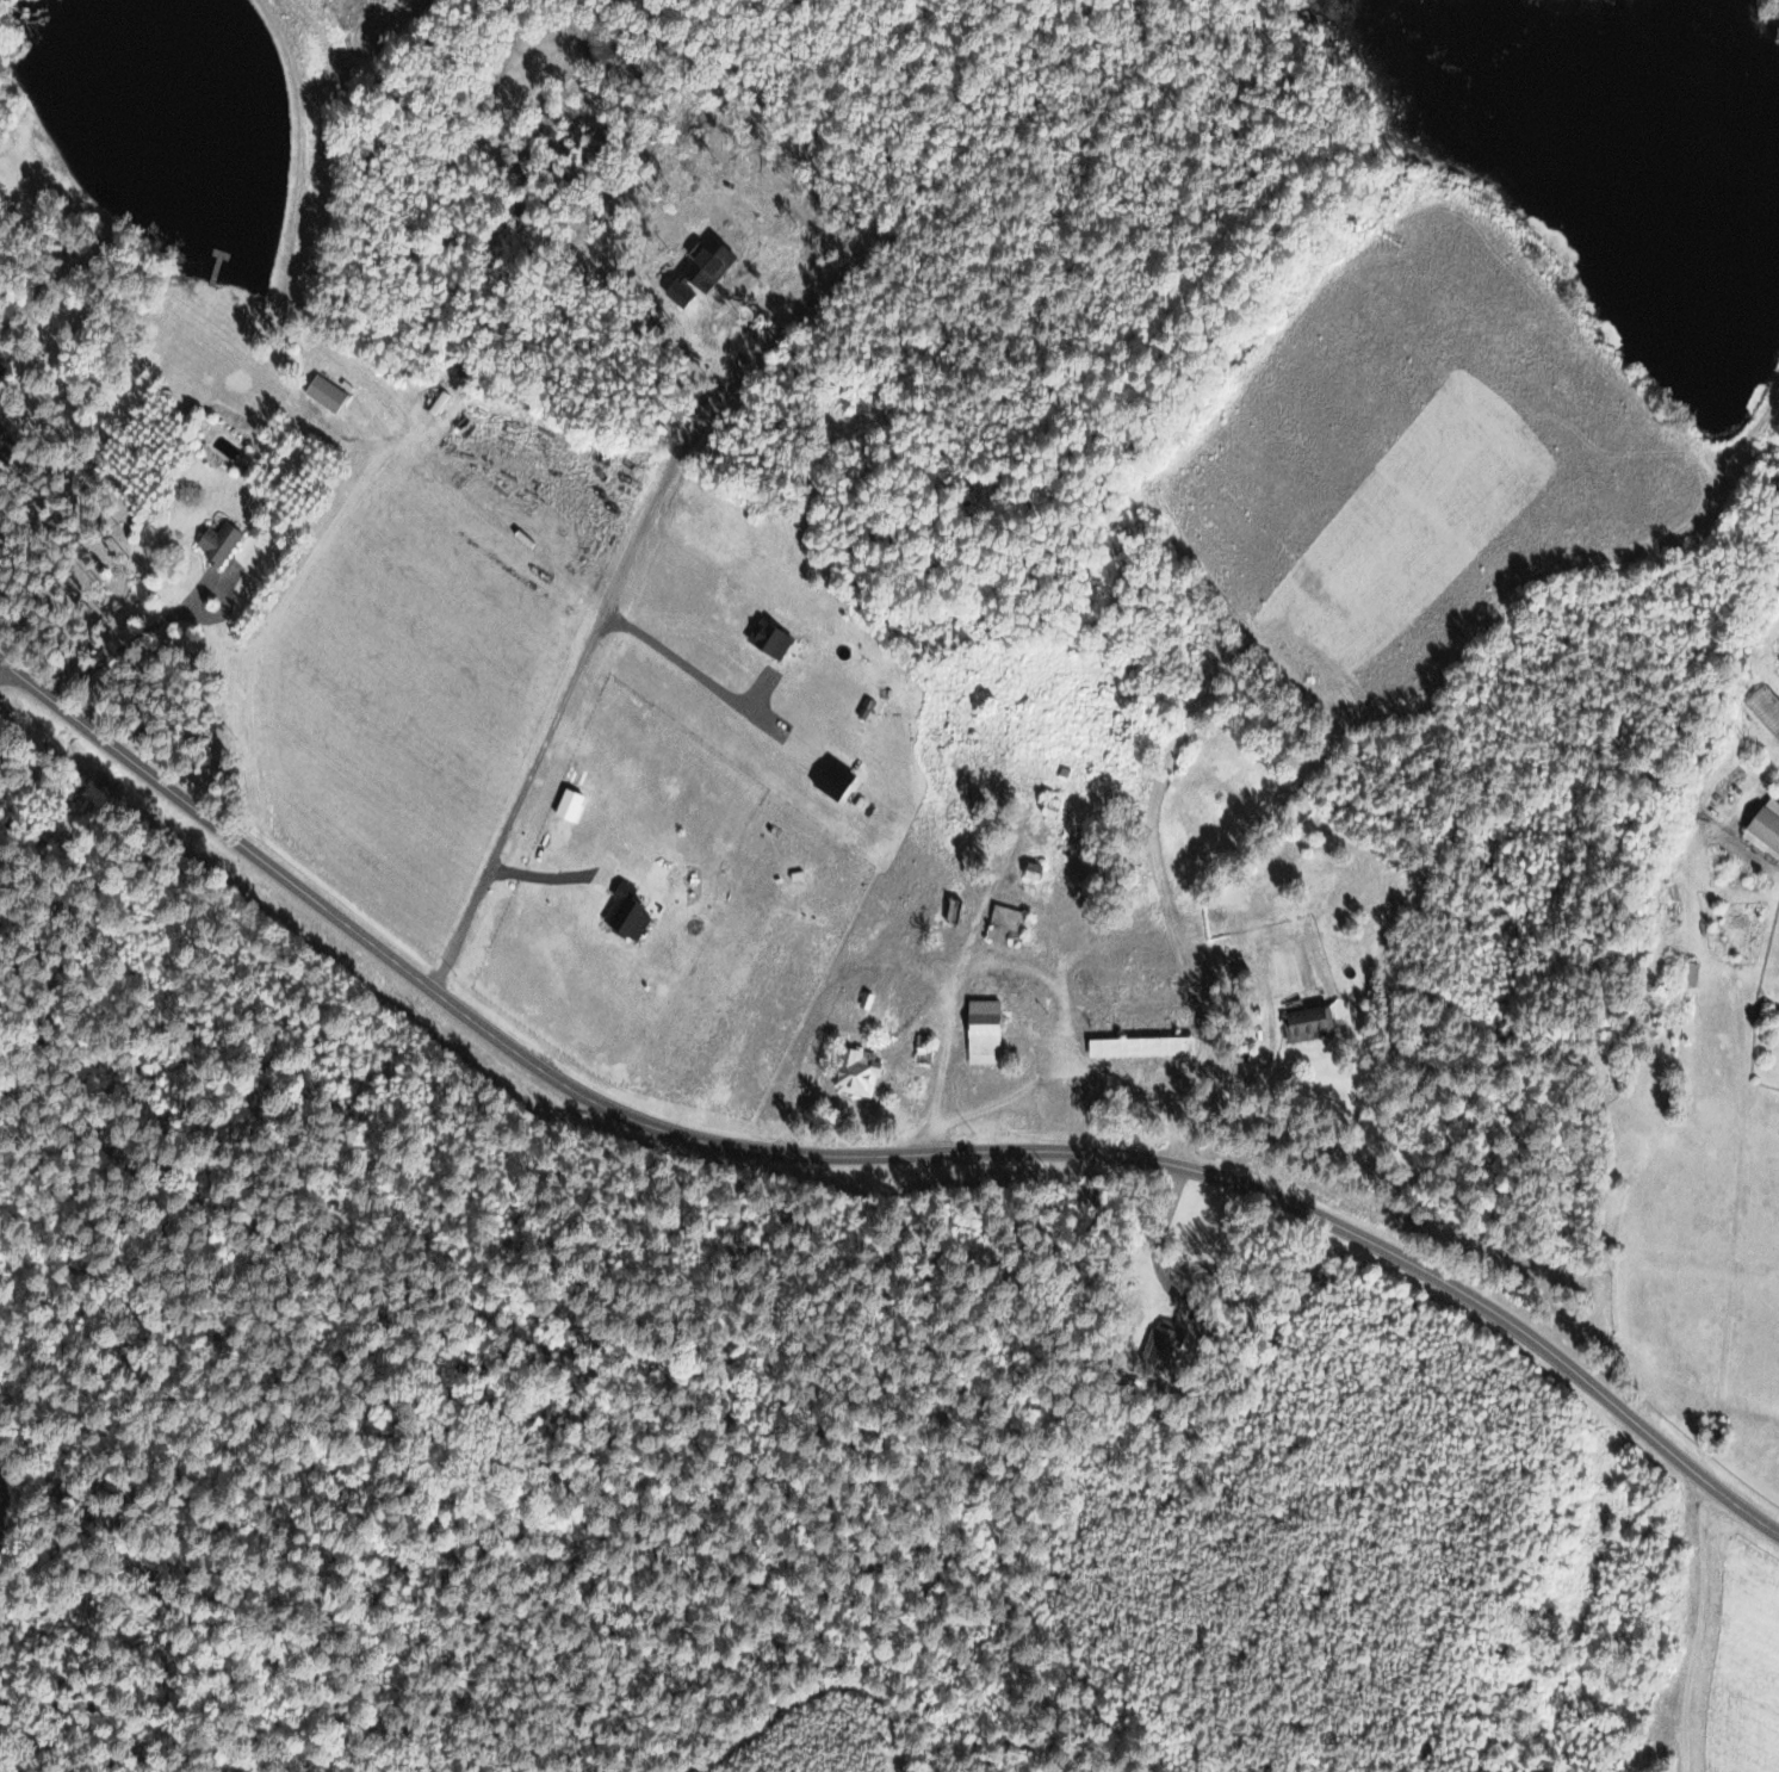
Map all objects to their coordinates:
building: (323, 394)
building: (216, 543)
road: (128, 642)
road: (690, 664)
building: (1765, 708)
road: (533, 770)
building: (1765, 829)
building: (624, 911)
building: (1004, 924)
road: (1252, 967)
building: (1688, 973)
building: (1307, 1023)
building: (981, 1031)
building: (1139, 1046)
building: (855, 1071)
road: (1067, 1071)
road: (868, 1158)
building: (1159, 1345)

